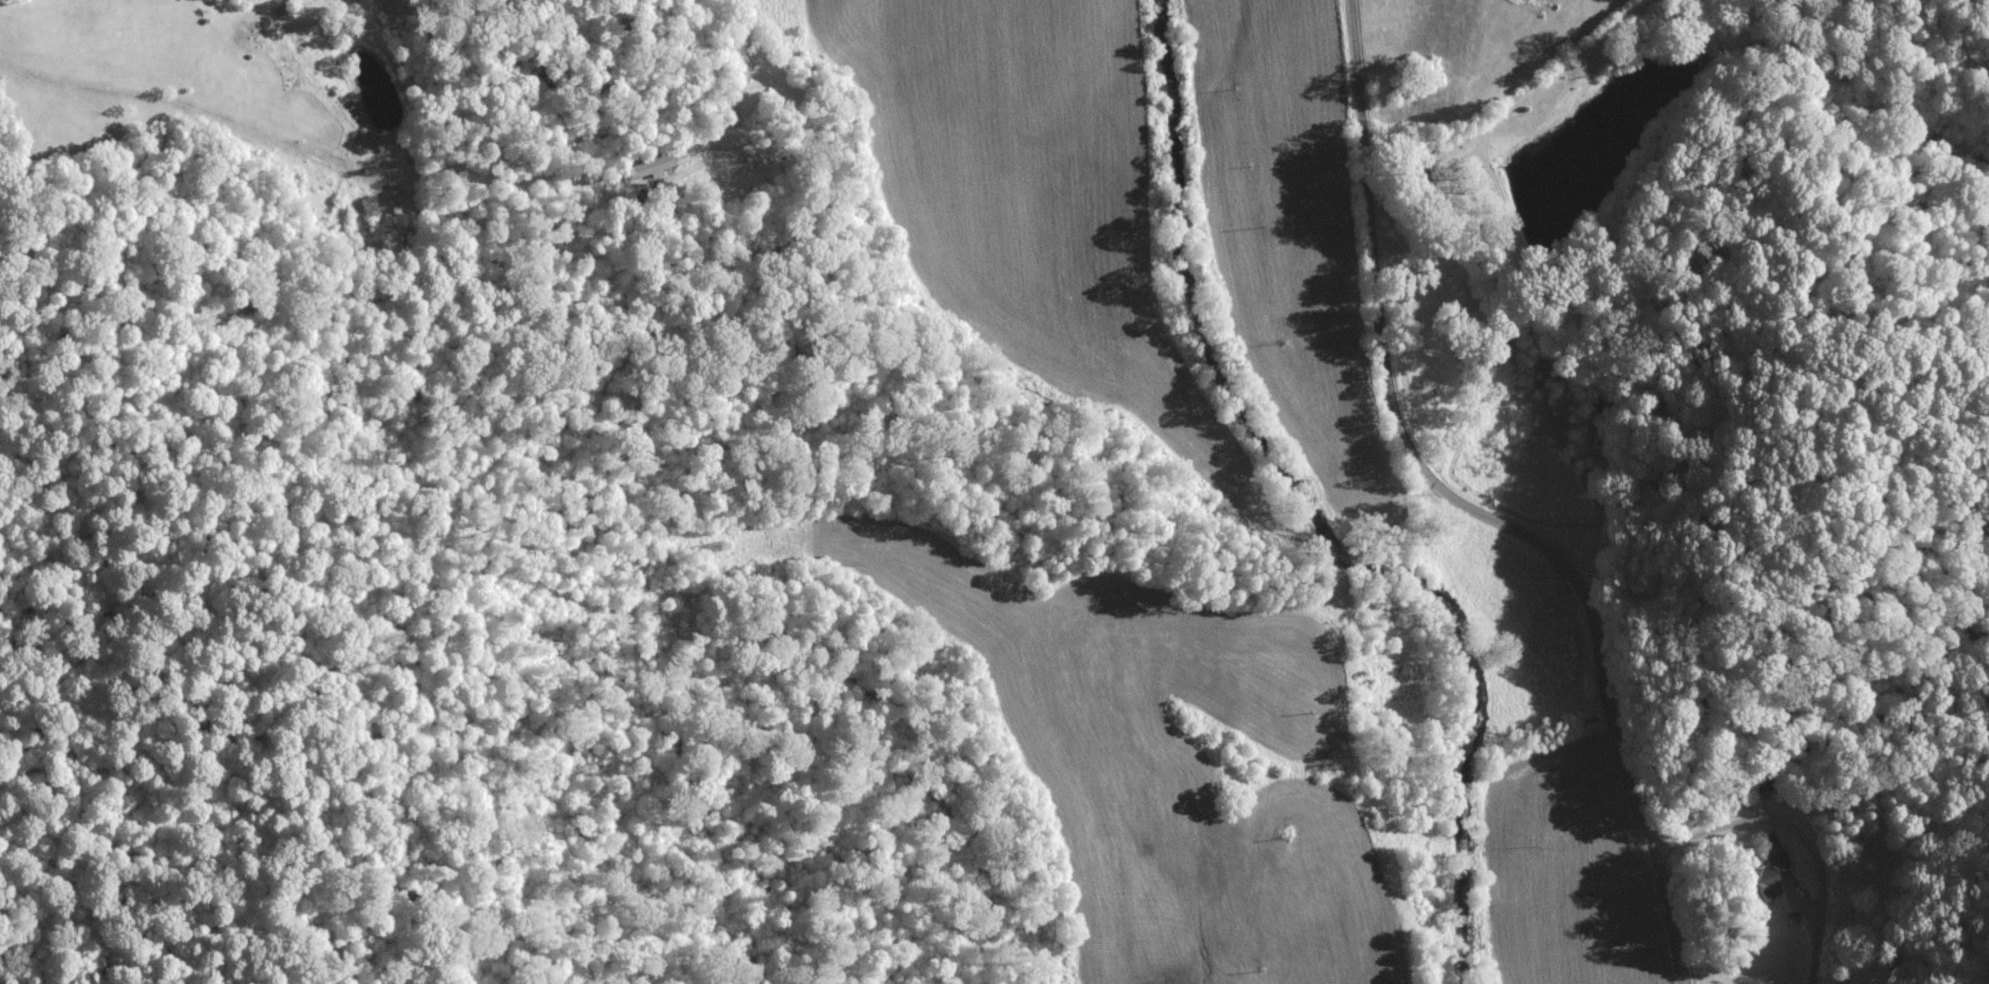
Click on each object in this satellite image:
road: (738, 68)
building: (646, 167)
road: (1477, 507)
road: (1799, 835)
building: (1770, 873)

